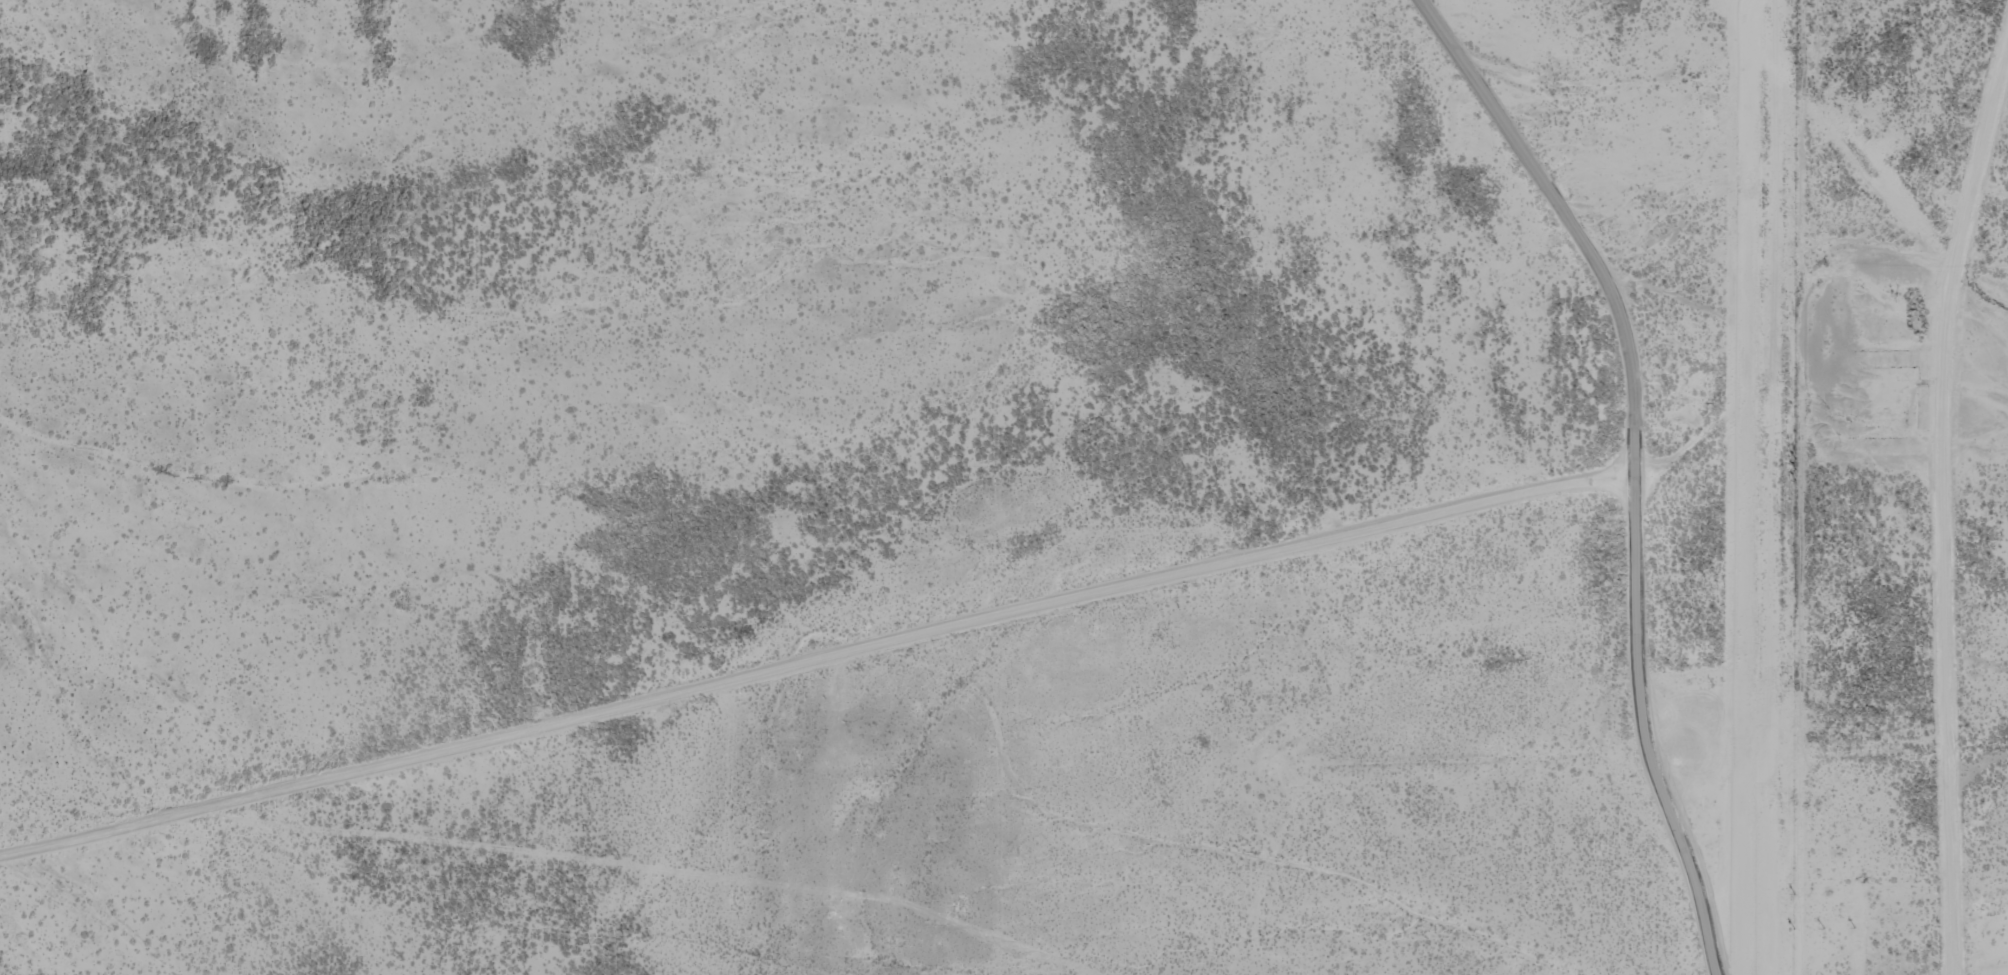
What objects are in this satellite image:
road: (1638, 462)
road: (1796, 487)
road: (413, 512)
road: (1219, 547)
road: (401, 721)
road: (1170, 833)

